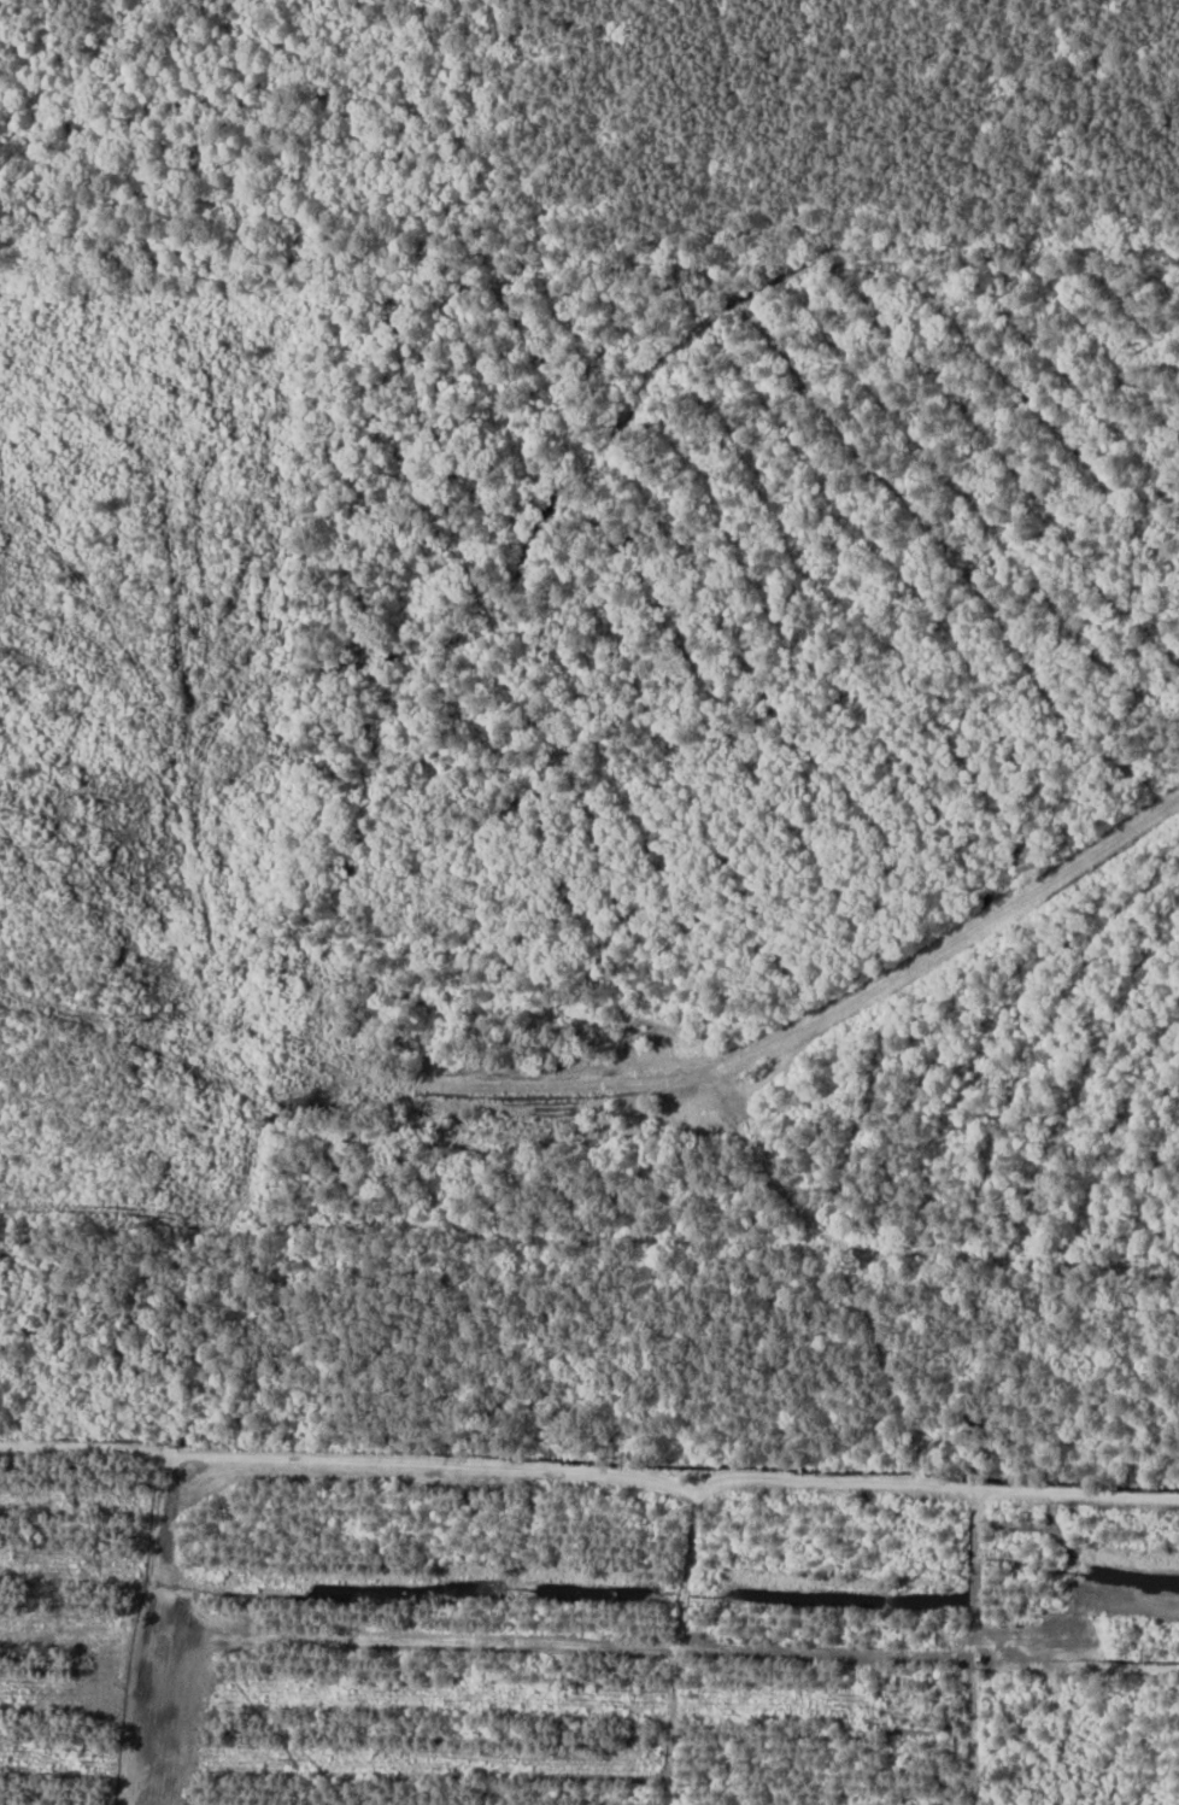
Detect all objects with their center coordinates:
road: (880, 977)
road: (1101, 1662)

